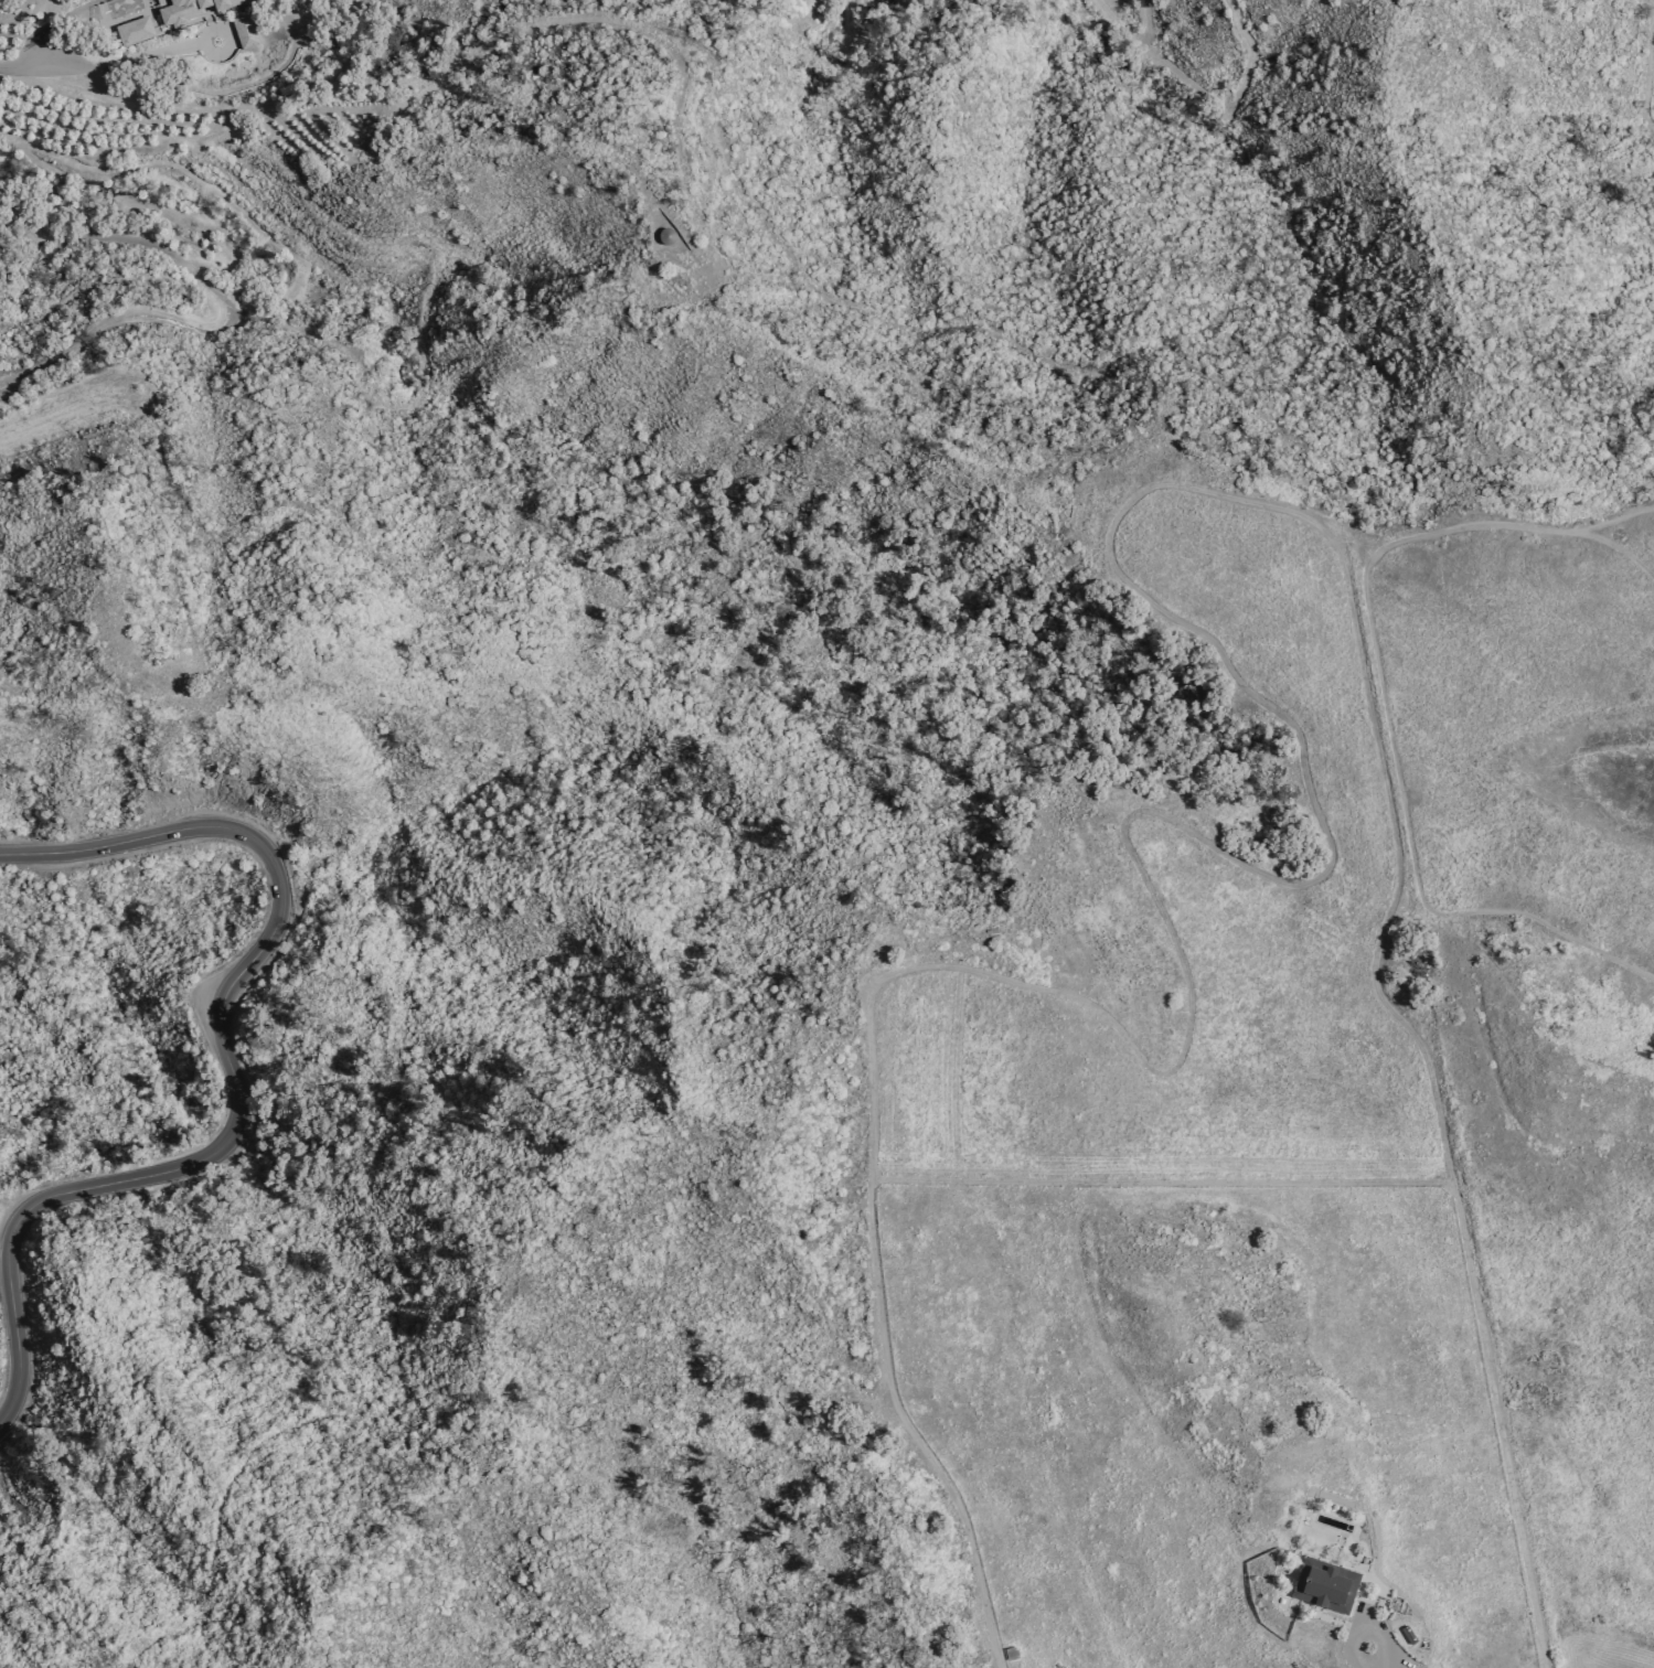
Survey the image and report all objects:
building: (161, 3)
building: (192, 9)
building: (134, 31)
building: (244, 31)
road: (51, 41)
road: (465, 66)
road: (1647, 66)
road: (1205, 89)
road: (974, 321)
road: (1511, 516)
road: (185, 627)
road: (567, 627)
road: (1375, 723)
road: (226, 1058)
building: (1330, 1585)
road: (1372, 1632)
road: (154, 1636)

